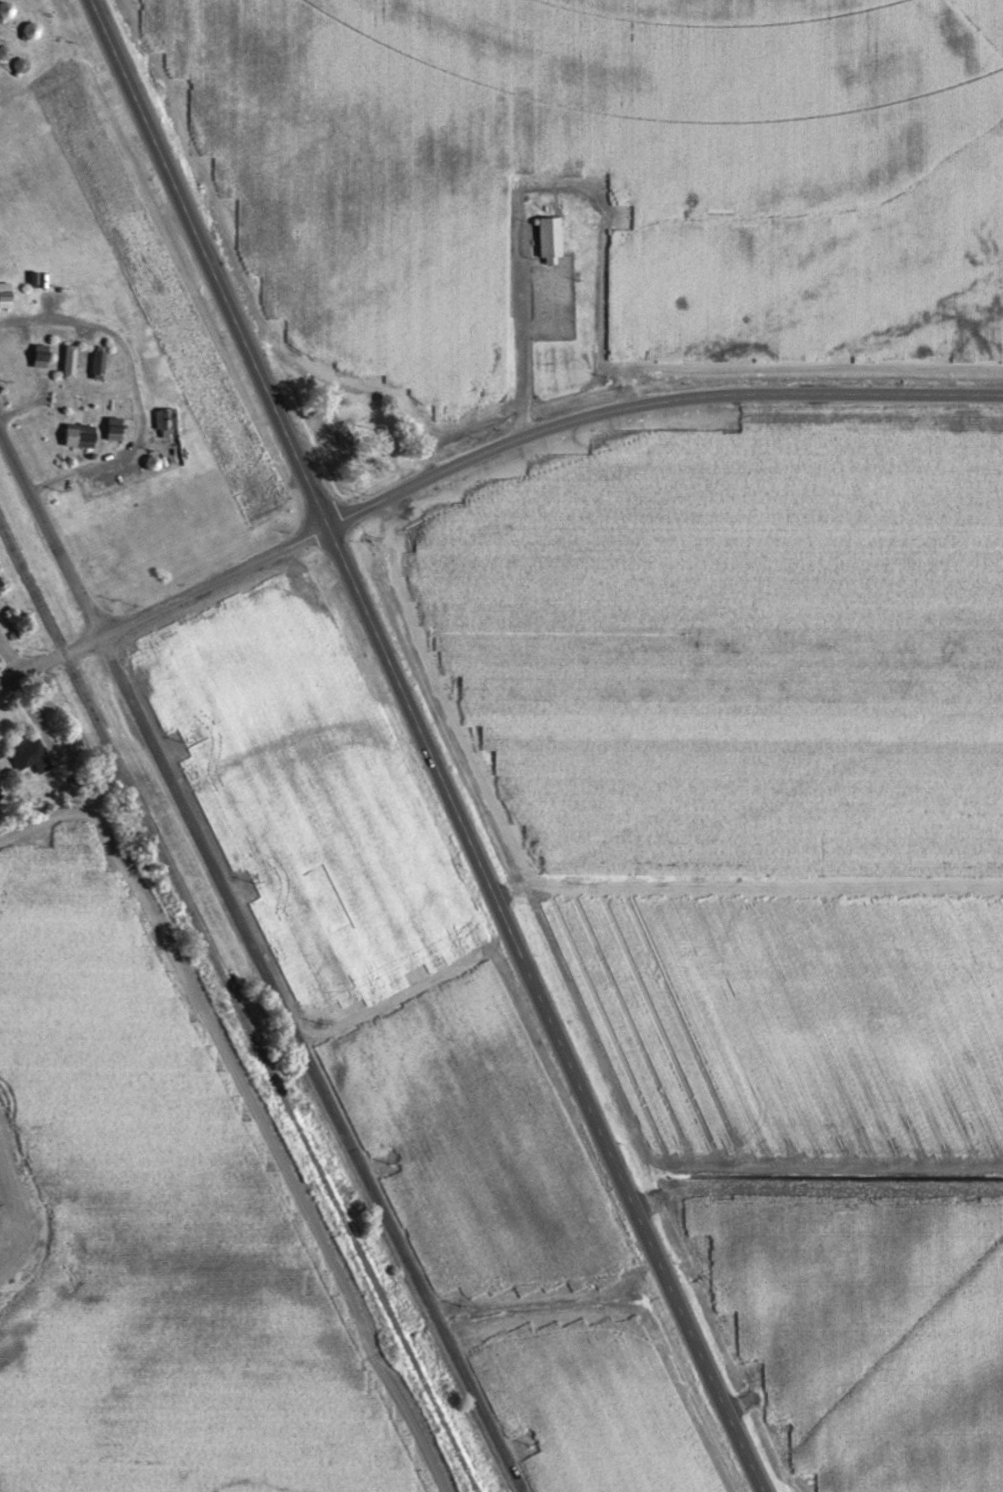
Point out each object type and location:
building: (548, 238)
road: (207, 263)
building: (69, 362)
building: (97, 364)
road: (651, 402)
building: (107, 428)
building: (79, 436)
road: (171, 600)
road: (9, 653)
road: (9, 674)
building: (28, 754)
road: (259, 967)
railway: (238, 1009)
road: (540, 1009)
road: (16, 1244)

